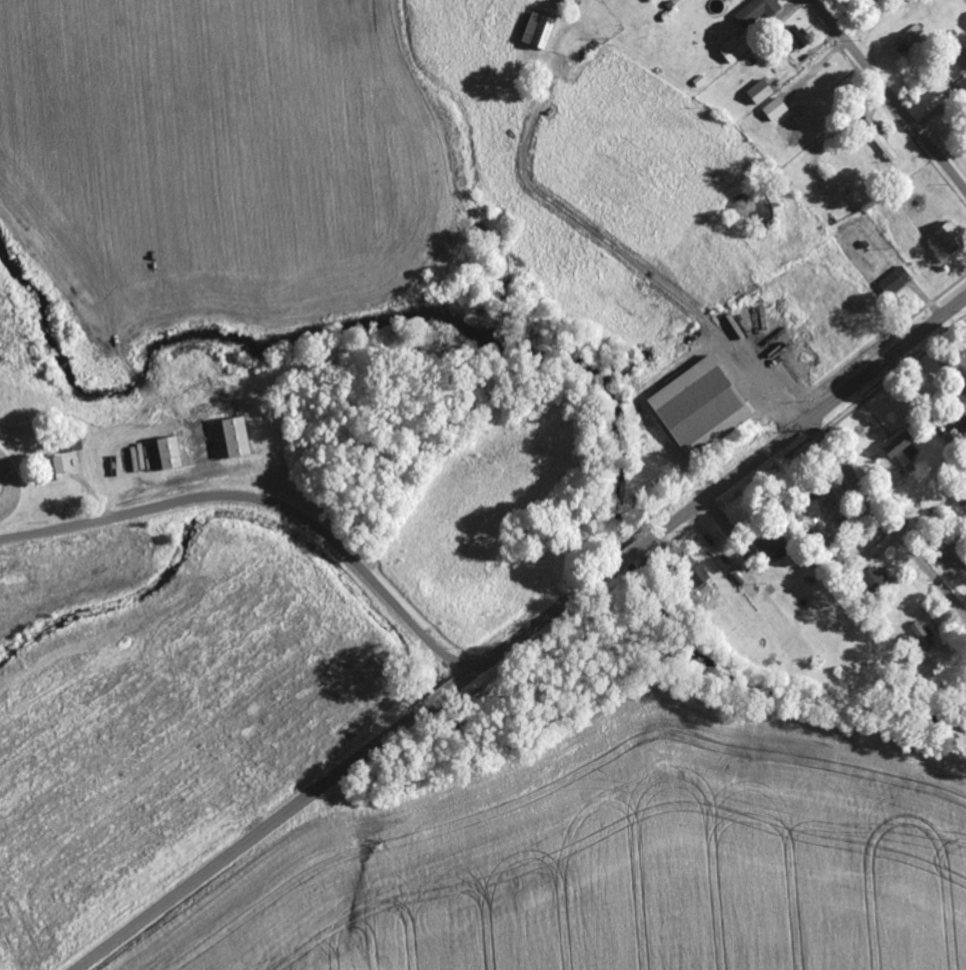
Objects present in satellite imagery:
building: (656, 0)
building: (760, 12)
building: (538, 32)
building: (913, 38)
building: (962, 64)
building: (761, 93)
road: (890, 94)
building: (776, 111)
building: (884, 146)
building: (948, 240)
building: (896, 282)
building: (963, 393)
building: (700, 409)
building: (961, 416)
building: (235, 439)
building: (71, 444)
building: (901, 449)
building: (169, 455)
building: (56, 470)
road: (720, 488)
road: (265, 502)
road: (887, 517)
building: (773, 545)
road: (717, 552)
building: (695, 573)
building: (877, 583)
building: (923, 637)
road: (274, 822)

